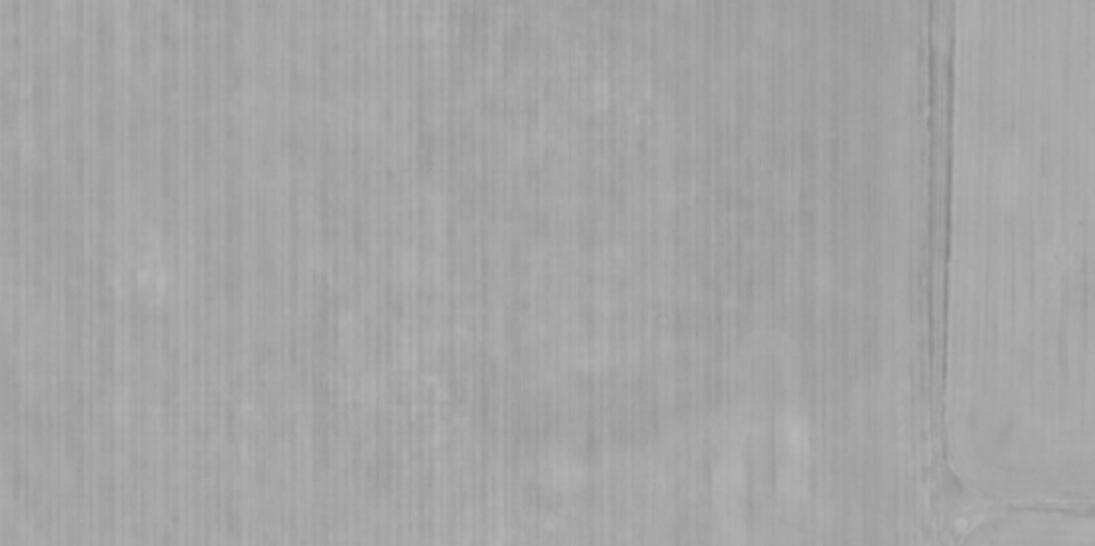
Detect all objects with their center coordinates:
road: (941, 273)
road: (1018, 504)

